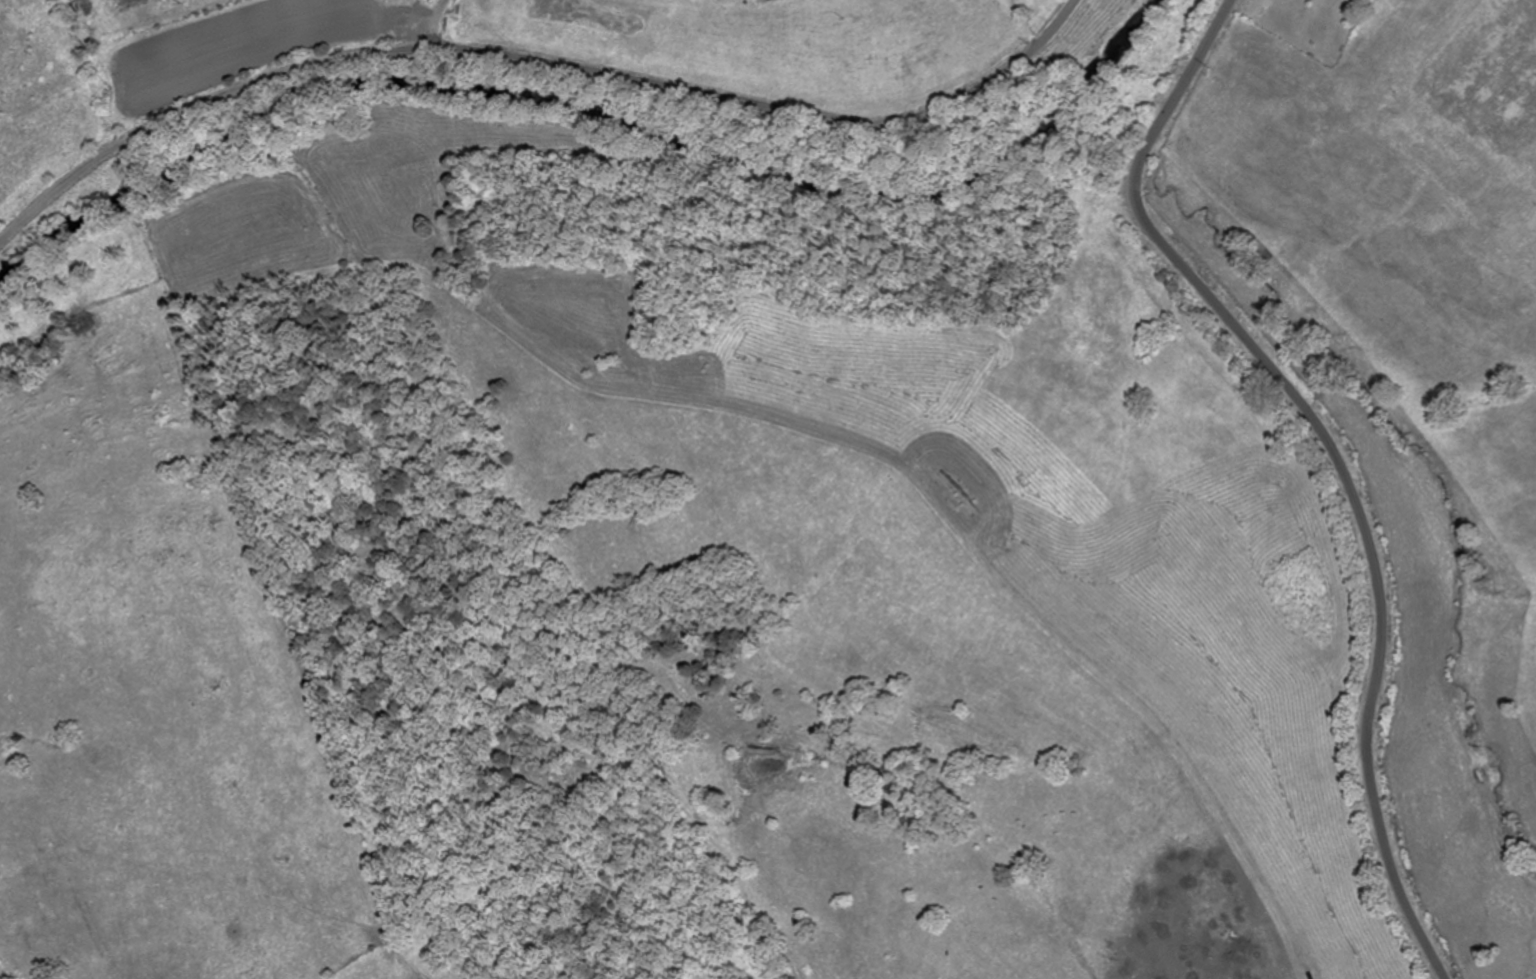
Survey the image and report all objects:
building: (410, 24)
road: (535, 60)
road: (1335, 454)
building: (948, 489)

